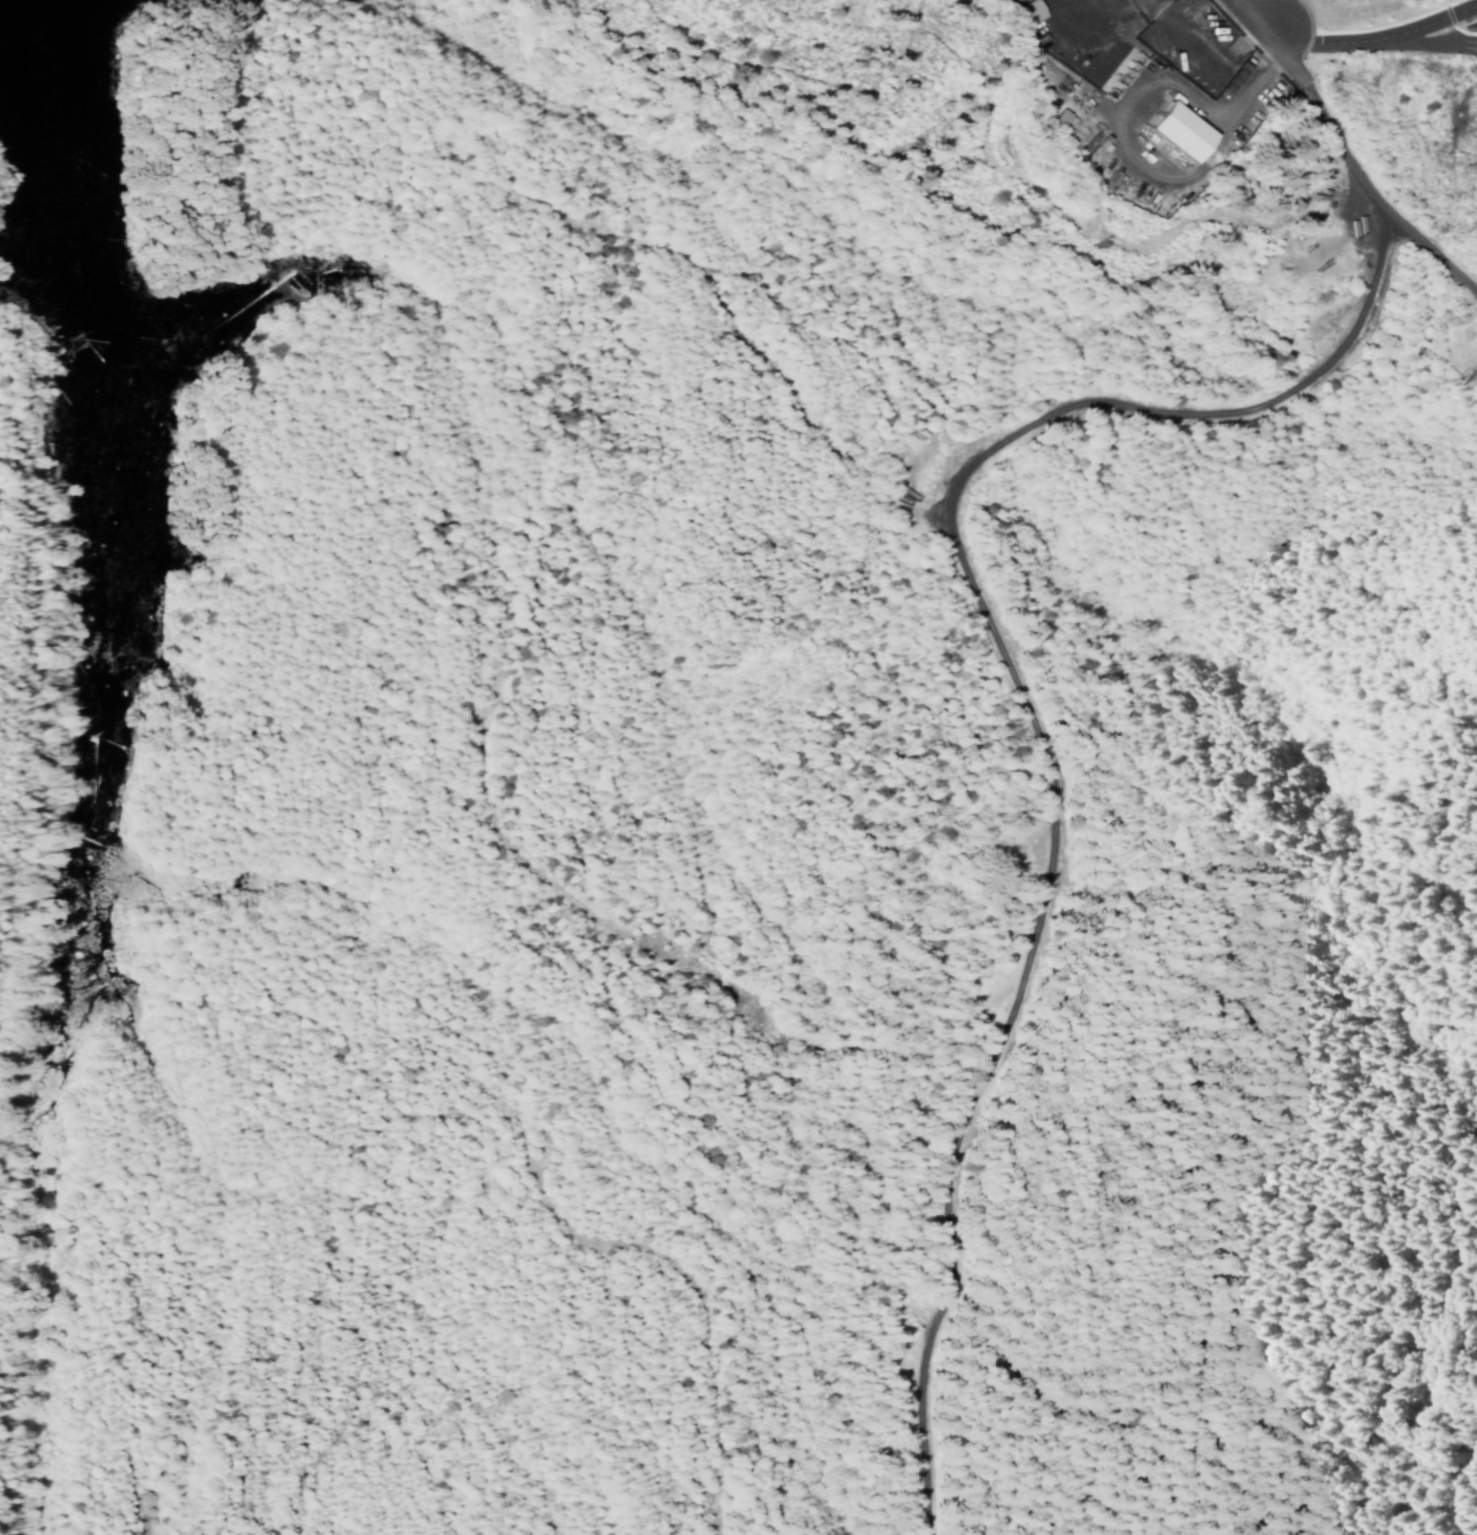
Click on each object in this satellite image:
building: (1027, 10)
road: (1271, 39)
road: (1373, 39)
building: (1174, 130)
road: (1374, 200)
road: (1034, 722)

